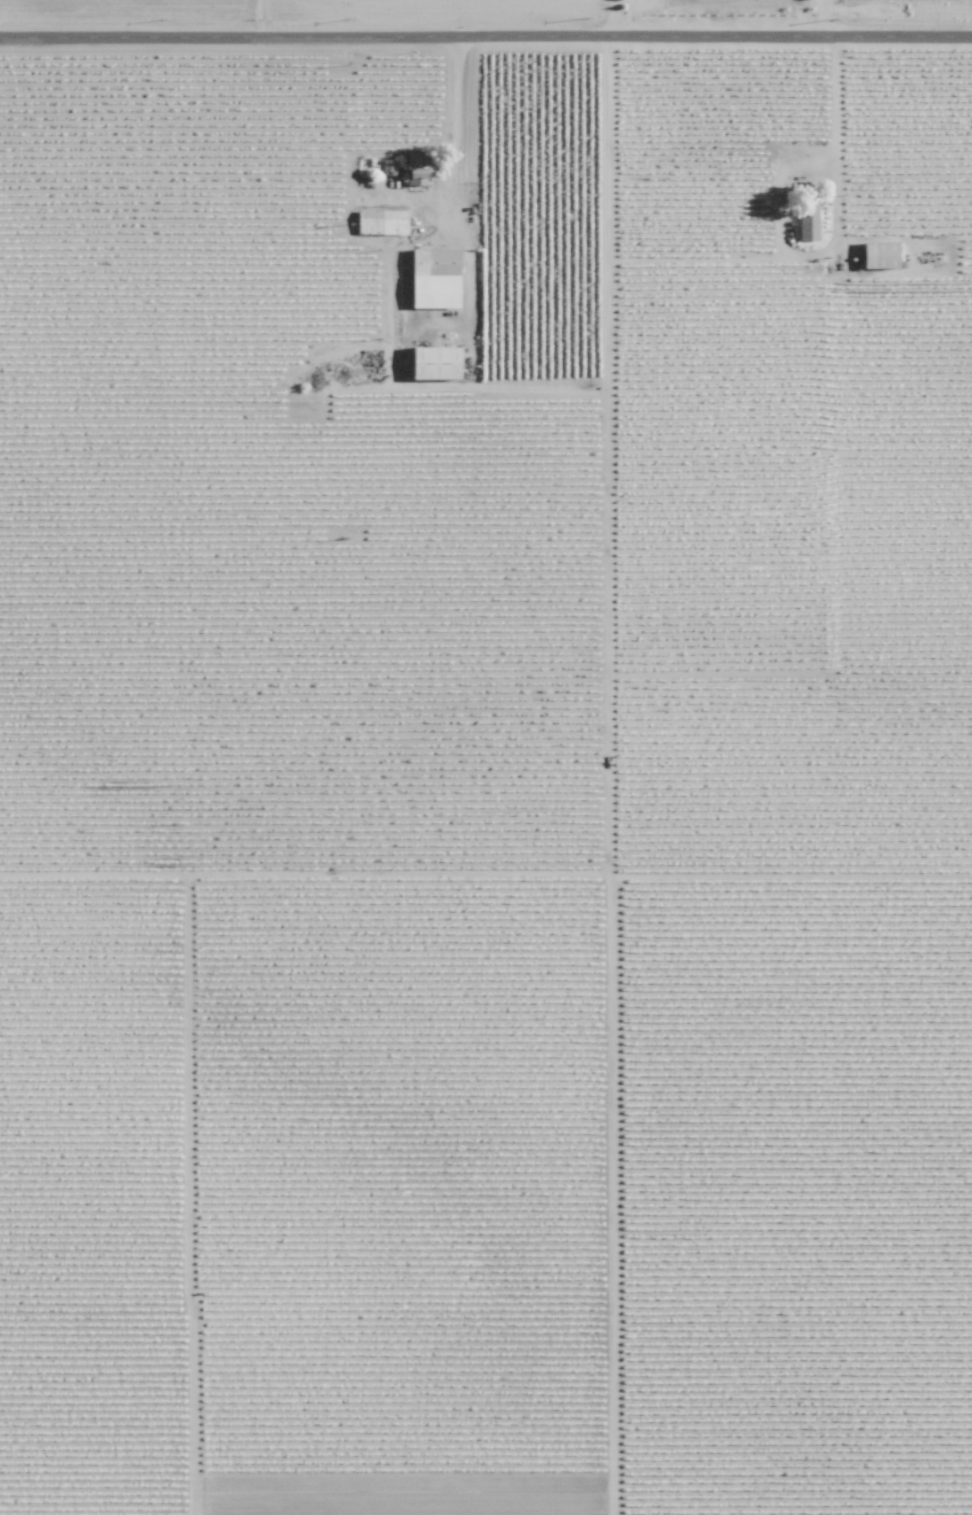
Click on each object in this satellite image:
road: (825, 18)
road: (486, 36)
road: (460, 129)
building: (421, 169)
building: (805, 220)
building: (383, 222)
building: (438, 278)
building: (438, 363)

